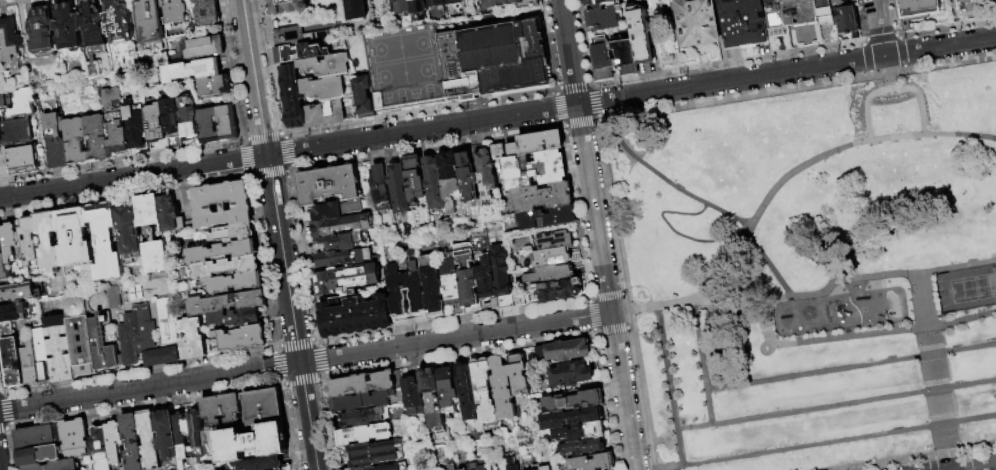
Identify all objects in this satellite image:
building: (453, 2)
building: (436, 3)
building: (499, 3)
building: (600, 3)
building: (993, 3)
building: (418, 6)
building: (287, 7)
building: (403, 7)
building: (380, 8)
building: (918, 8)
building: (357, 11)
building: (174, 12)
building: (823, 12)
building: (206, 13)
building: (787, 15)
building: (602, 17)
building: (844, 18)
building: (151, 22)
building: (696, 22)
building: (742, 23)
road: (880, 28)
building: (68, 29)
building: (94, 29)
building: (43, 31)
building: (641, 32)
building: (120, 34)
building: (298, 36)
road: (720, 41)
building: (11, 45)
building: (205, 49)
building: (298, 52)
building: (602, 56)
building: (624, 57)
building: (458, 60)
building: (327, 66)
building: (192, 72)
road: (888, 73)
road: (254, 77)
building: (214, 87)
building: (324, 88)
road: (891, 90)
building: (363, 95)
building: (291, 96)
road: (631, 97)
building: (3, 103)
building: (323, 114)
building: (188, 119)
building: (115, 123)
building: (171, 125)
building: (225, 125)
building: (135, 128)
building: (206, 128)
building: (155, 130)
building: (19, 134)
building: (0, 137)
building: (96, 139)
building: (56, 143)
building: (75, 144)
building: (536, 144)
building: (3, 152)
building: (497, 152)
building: (23, 161)
building: (5, 168)
building: (533, 170)
building: (486, 171)
road: (658, 175)
road: (133, 176)
building: (466, 176)
building: (414, 180)
building: (449, 181)
building: (433, 183)
building: (328, 184)
road: (778, 185)
building: (379, 189)
building: (398, 189)
building: (542, 197)
building: (221, 204)
building: (170, 216)
building: (546, 218)
building: (339, 219)
building: (128, 231)
building: (234, 232)
road: (598, 234)
road: (677, 234)
building: (152, 235)
building: (74, 239)
building: (553, 241)
building: (30, 242)
building: (341, 242)
building: (49, 243)
building: (106, 243)
building: (12, 245)
building: (829, 247)
building: (222, 252)
building: (341, 258)
building: (551, 258)
road: (769, 263)
building: (3, 265)
park: (805, 265)
building: (225, 267)
building: (500, 272)
building: (548, 275)
building: (465, 276)
building: (345, 279)
building: (485, 279)
building: (234, 282)
building: (430, 285)
building: (450, 287)
park: (967, 289)
building: (547, 293)
building: (19, 294)
building: (415, 295)
building: (112, 297)
road: (925, 300)
building: (225, 302)
road: (726, 307)
road: (291, 312)
building: (12, 314)
building: (354, 316)
building: (235, 317)
road: (759, 319)
building: (169, 322)
building: (79, 337)
building: (241, 338)
building: (192, 340)
building: (143, 341)
building: (102, 344)
building: (59, 350)
building: (559, 353)
building: (43, 358)
building: (121, 362)
road: (305, 362)
road: (702, 362)
building: (12, 364)
building: (29, 365)
road: (851, 367)
building: (519, 376)
building: (571, 376)
road: (670, 385)
building: (366, 386)
building: (502, 390)
building: (448, 391)
building: (467, 392)
building: (484, 392)
building: (414, 398)
building: (588, 400)
building: (433, 402)
building: (361, 403)
building: (555, 405)
road: (837, 406)
building: (264, 408)
building: (223, 411)
building: (378, 416)
building: (573, 419)
building: (347, 421)
building: (580, 433)
building: (199, 436)
building: (365, 436)
building: (37, 438)
building: (167, 438)
building: (75, 439)
building: (184, 440)
building: (149, 441)
road: (836, 441)
building: (115, 442)
building: (133, 442)
building: (252, 444)
building: (101, 449)
building: (583, 449)
building: (375, 450)
building: (39, 457)
road: (949, 460)
building: (376, 461)
building: (592, 463)
building: (261, 464)
building: (510, 465)
building: (57, 466)
road: (976, 466)
building: (399, 467)
building: (476, 467)
building: (533, 467)
building: (546, 468)
building: (369, 469)

